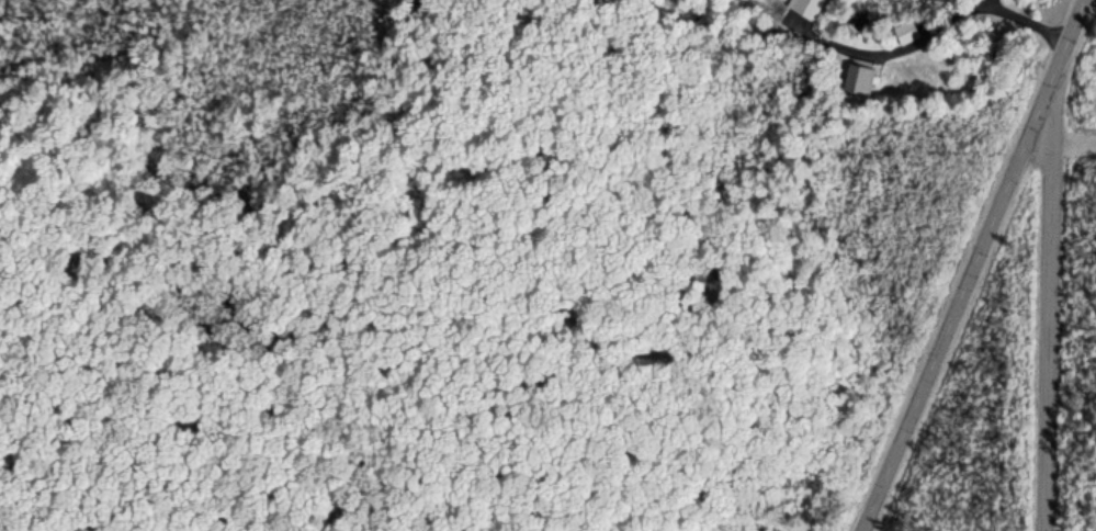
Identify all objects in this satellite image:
road: (927, 32)
road: (1073, 143)
road: (971, 264)
road: (1047, 320)

